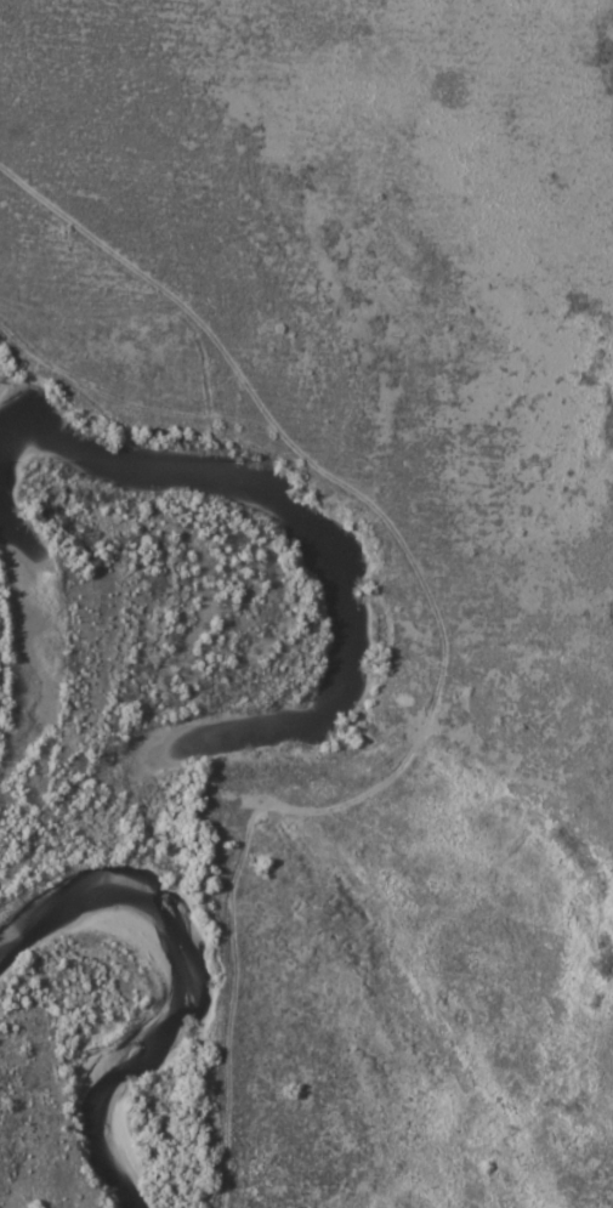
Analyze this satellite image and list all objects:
river: (176, 981)

